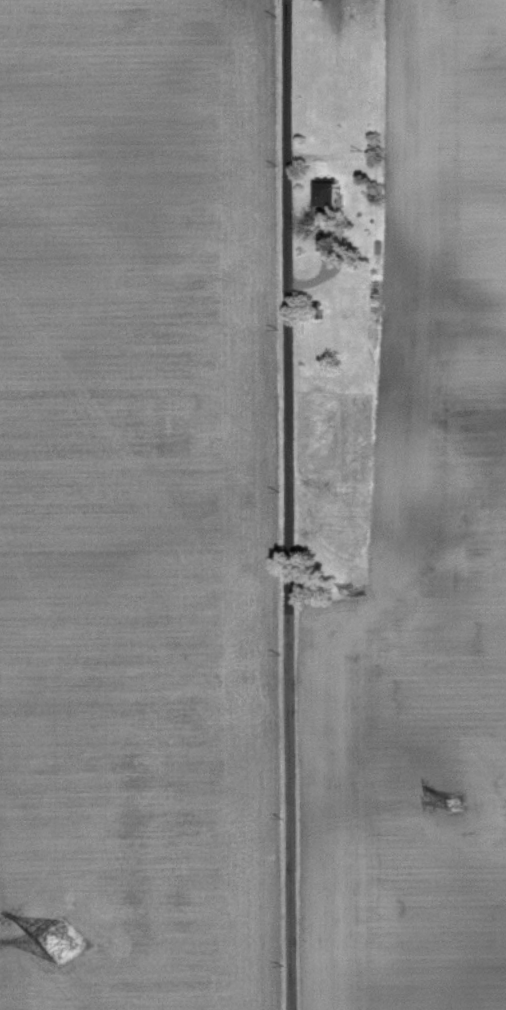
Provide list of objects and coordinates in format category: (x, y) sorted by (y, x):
building: (332, 194)
building: (331, 239)
road: (289, 504)
power tower: (78, 941)

